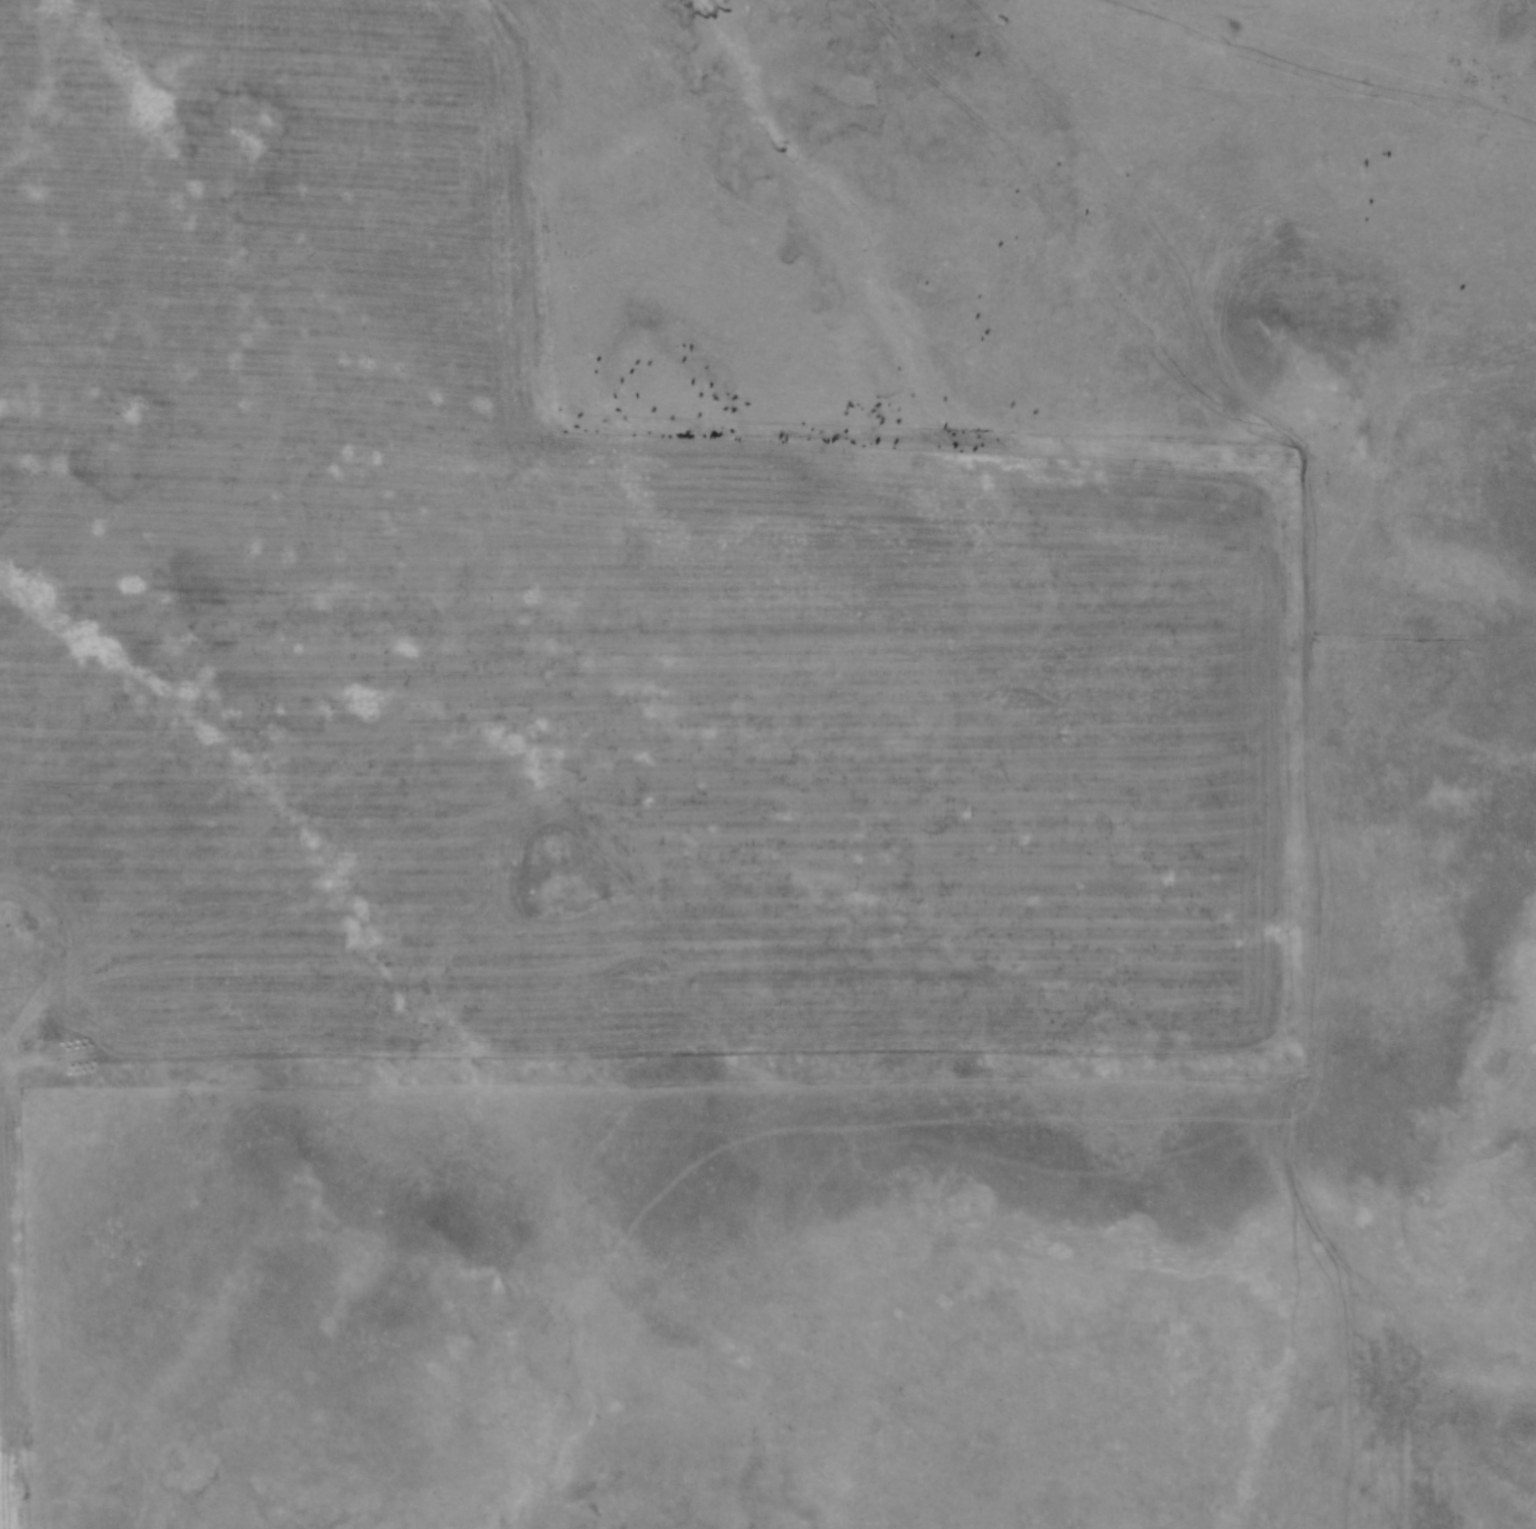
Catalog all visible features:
road: (982, 284)
road: (15, 1317)

